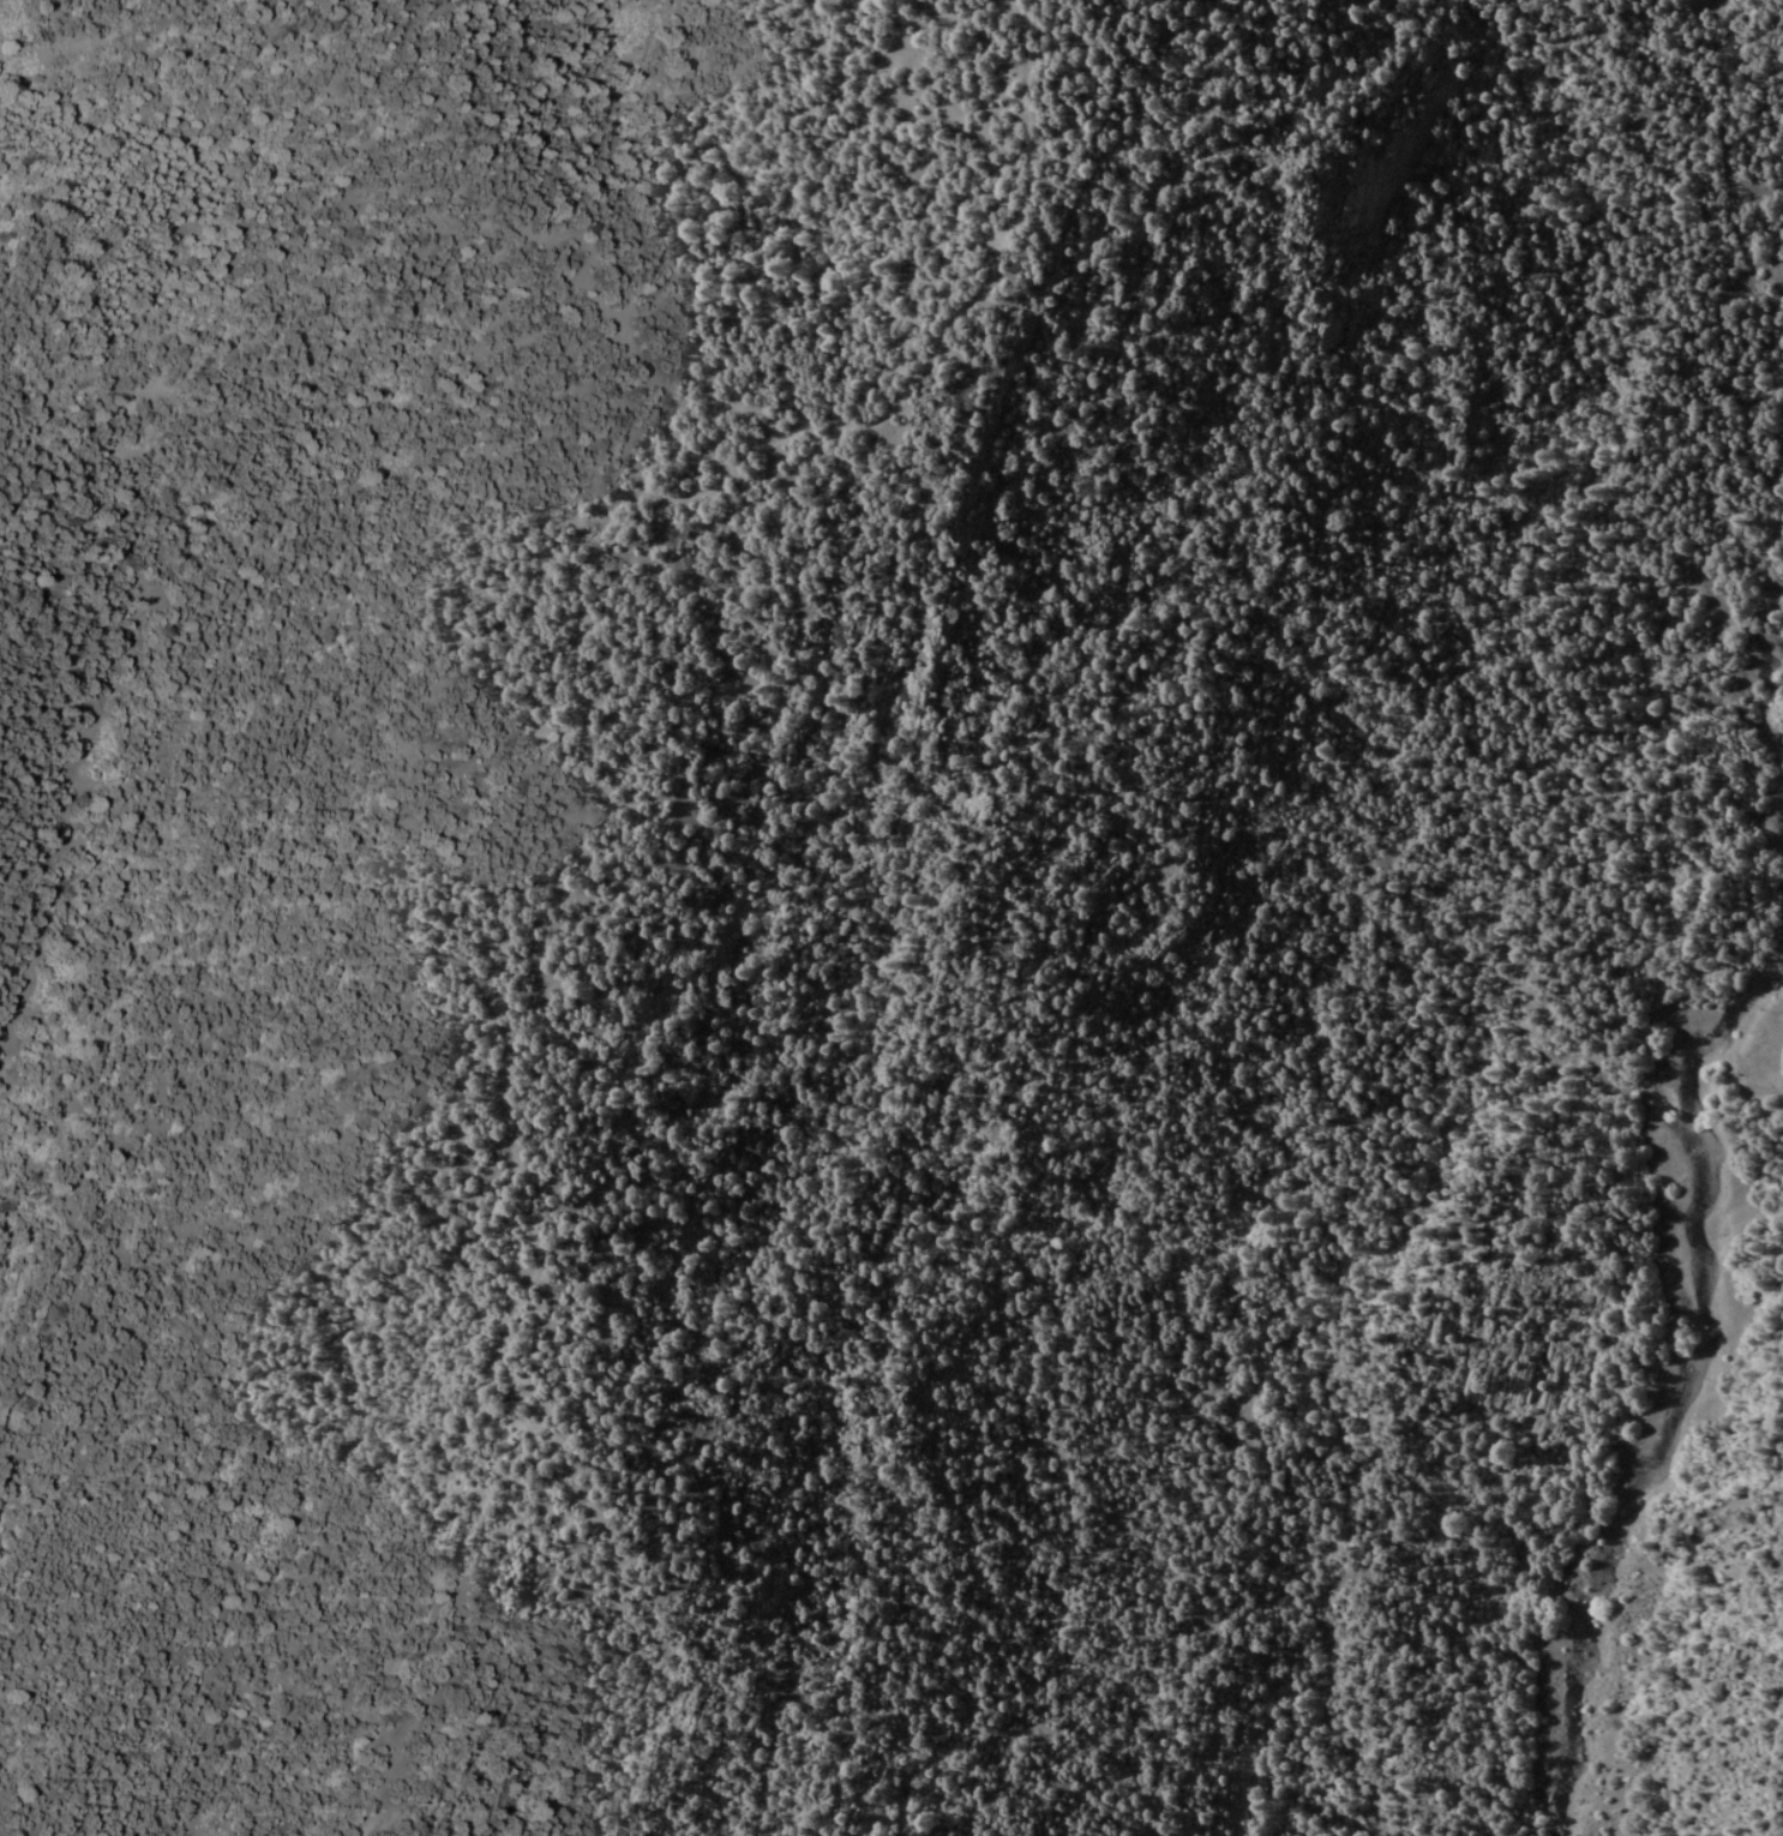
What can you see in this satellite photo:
road: (64, 808)
road: (571, 818)
road: (85, 1604)

